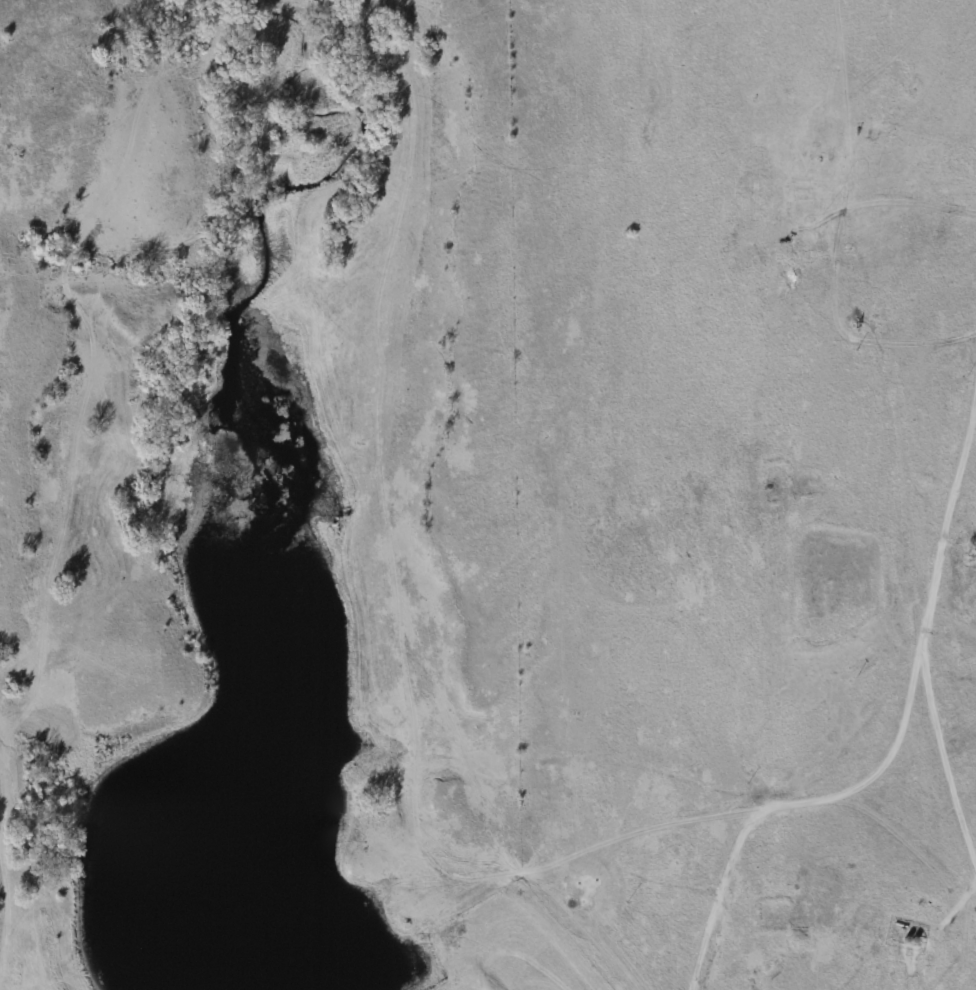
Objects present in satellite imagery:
road: (969, 732)
road: (858, 735)

